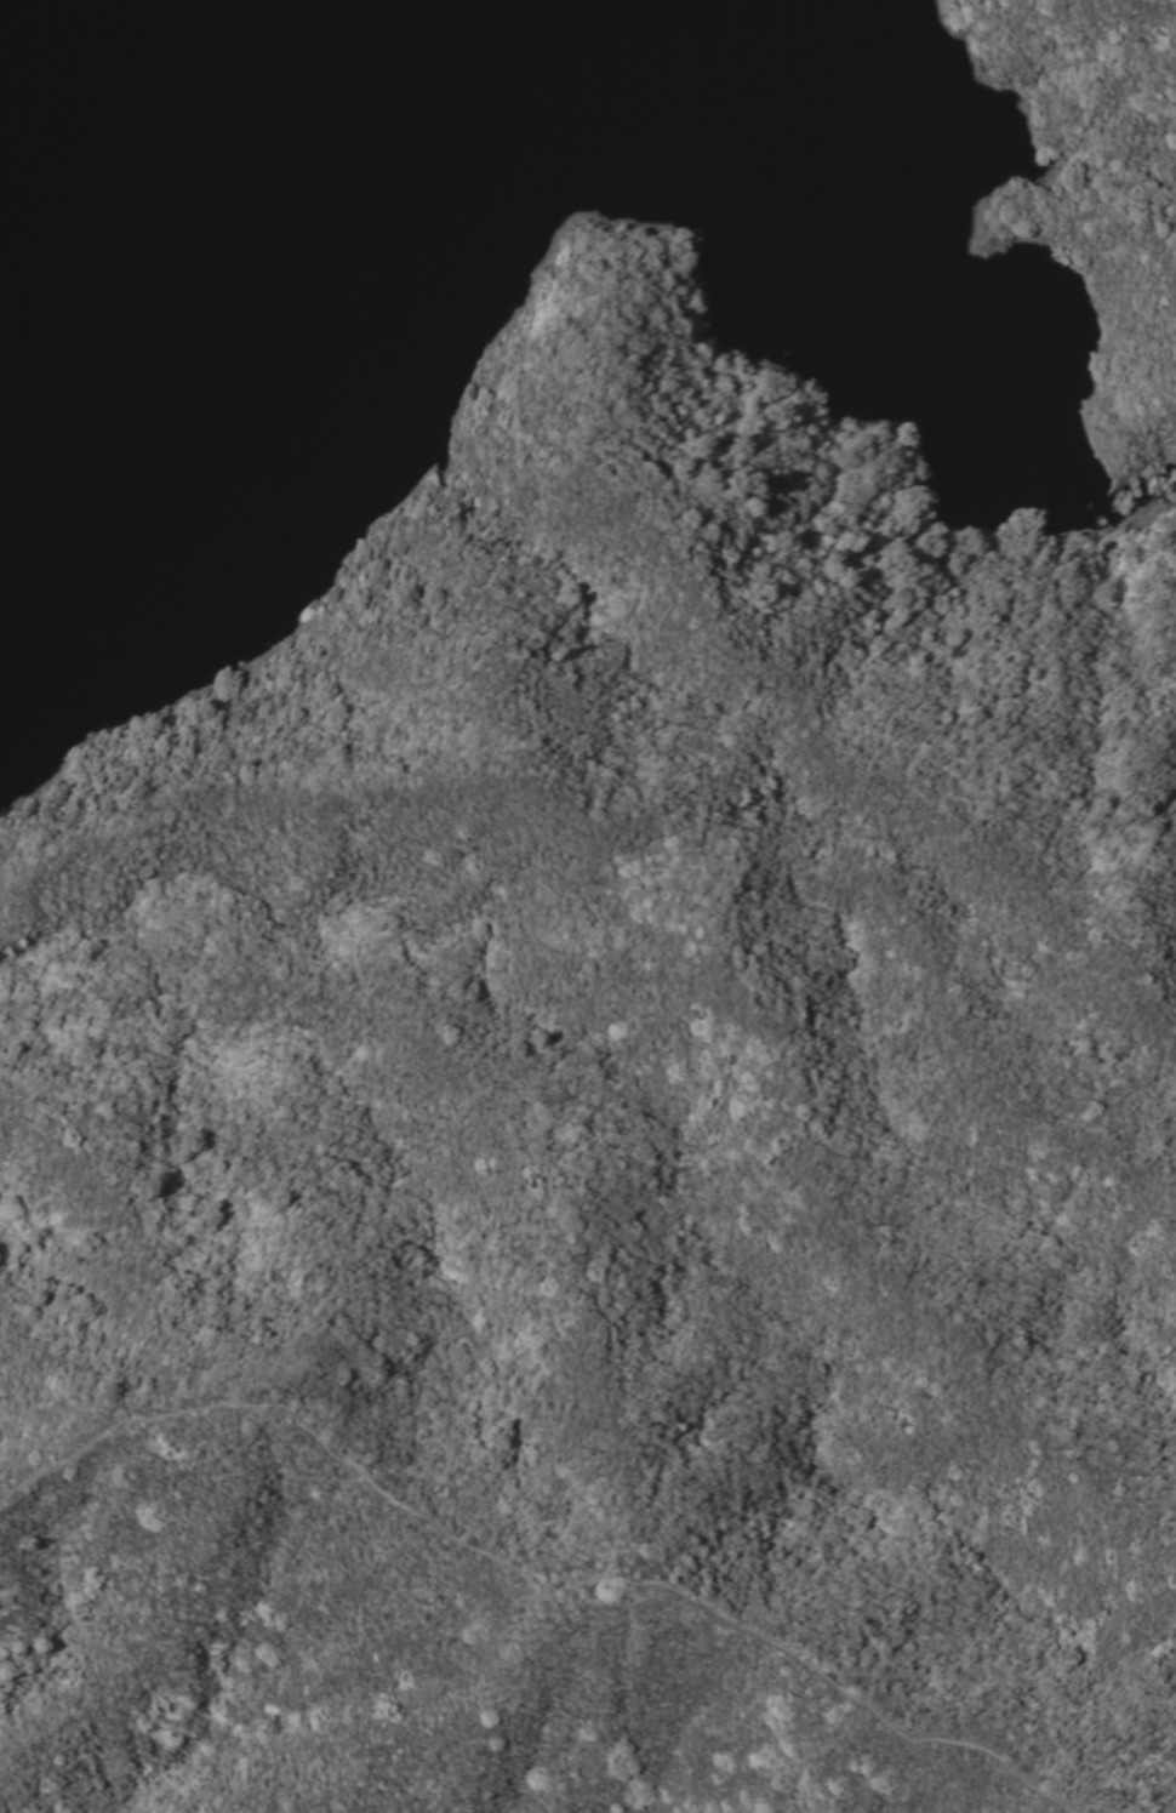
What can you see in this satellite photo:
river: (223, 138)

